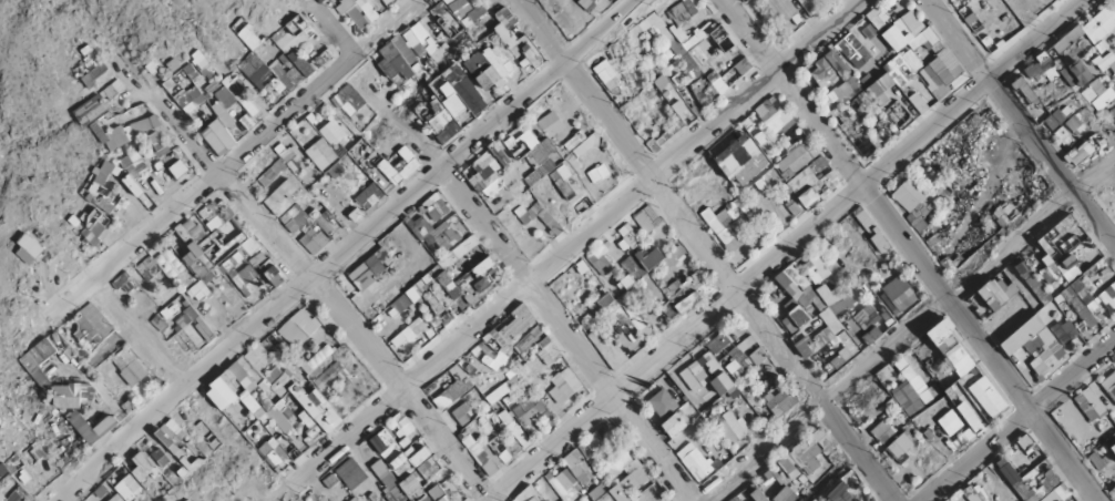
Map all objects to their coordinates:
road: (254, 141)
road: (573, 239)
road: (340, 246)
road: (778, 252)
road: (908, 323)
road: (1016, 419)

